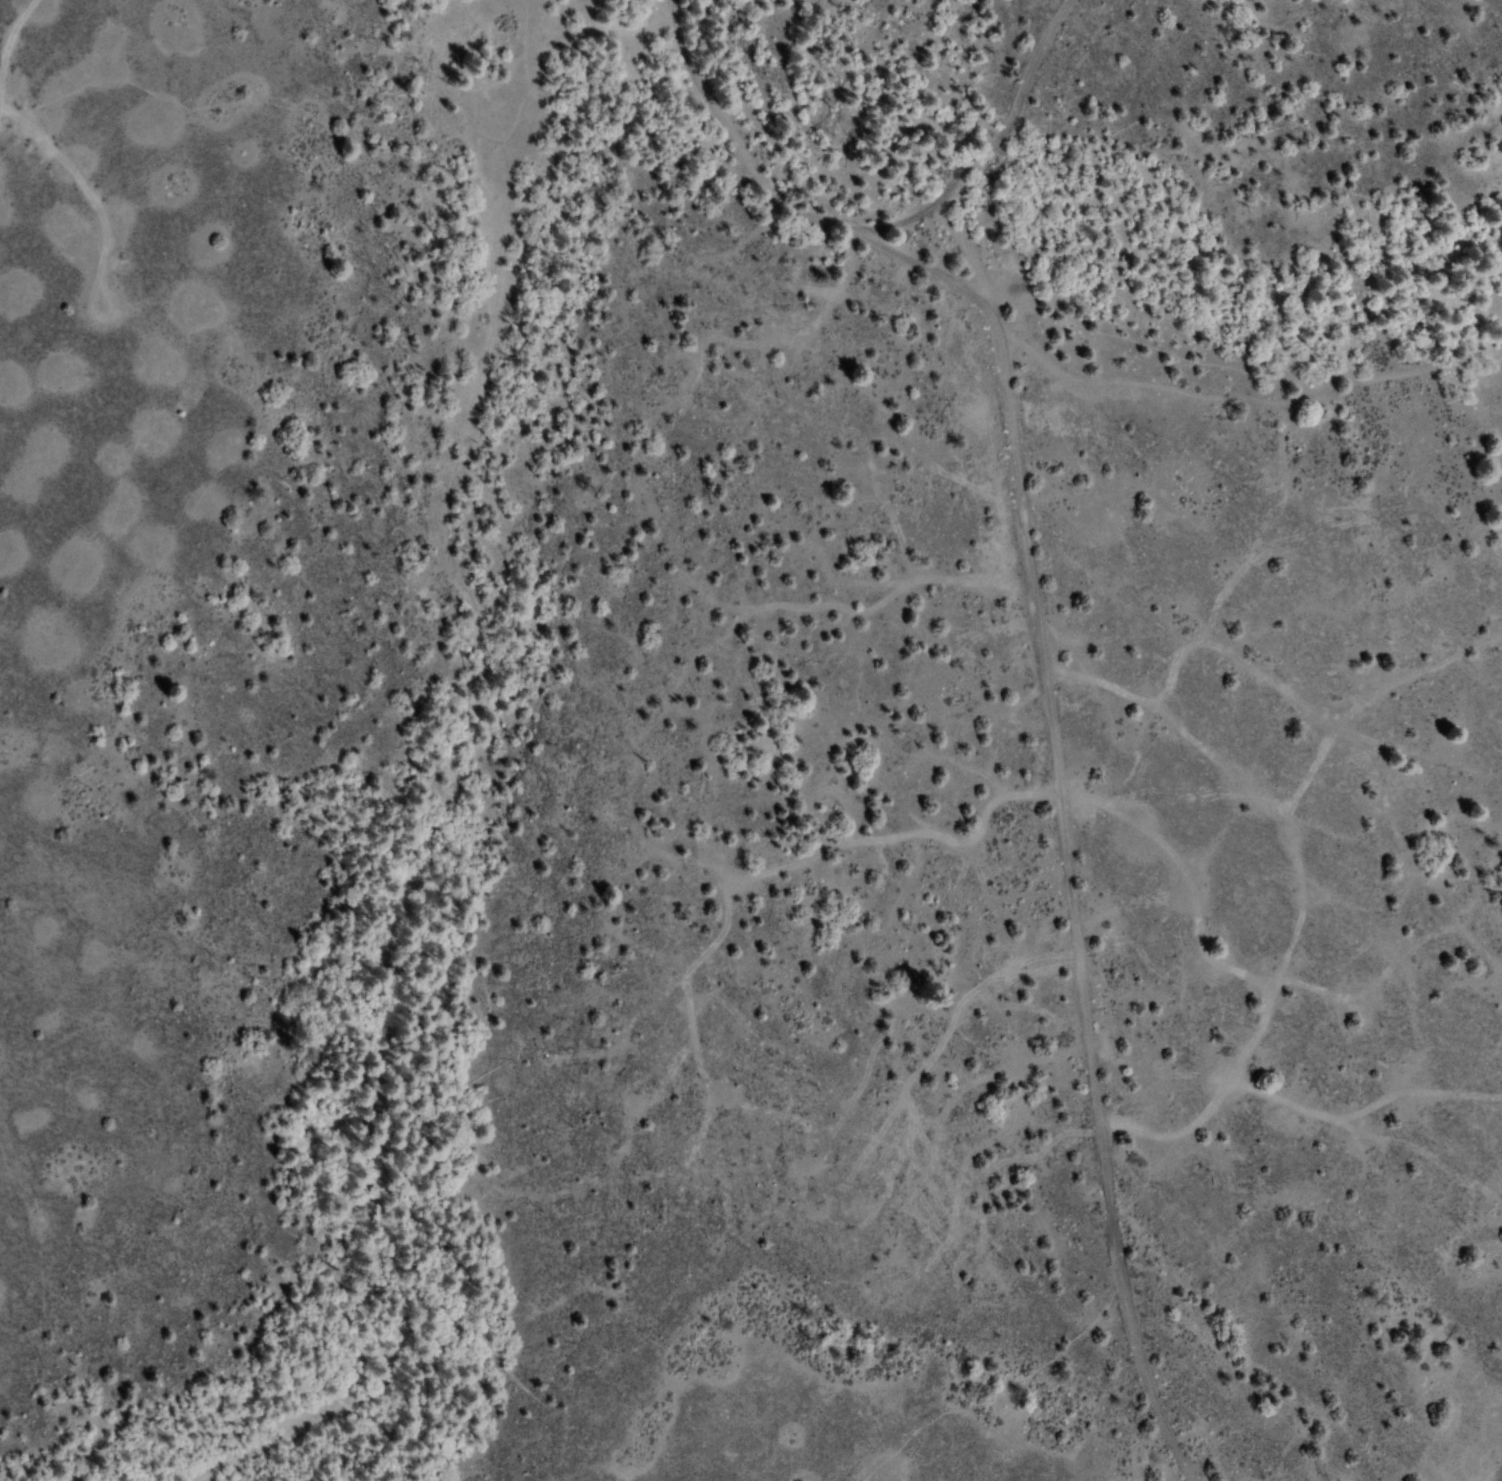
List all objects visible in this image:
road: (998, 312)
road: (1064, 868)
road: (1178, 1456)

